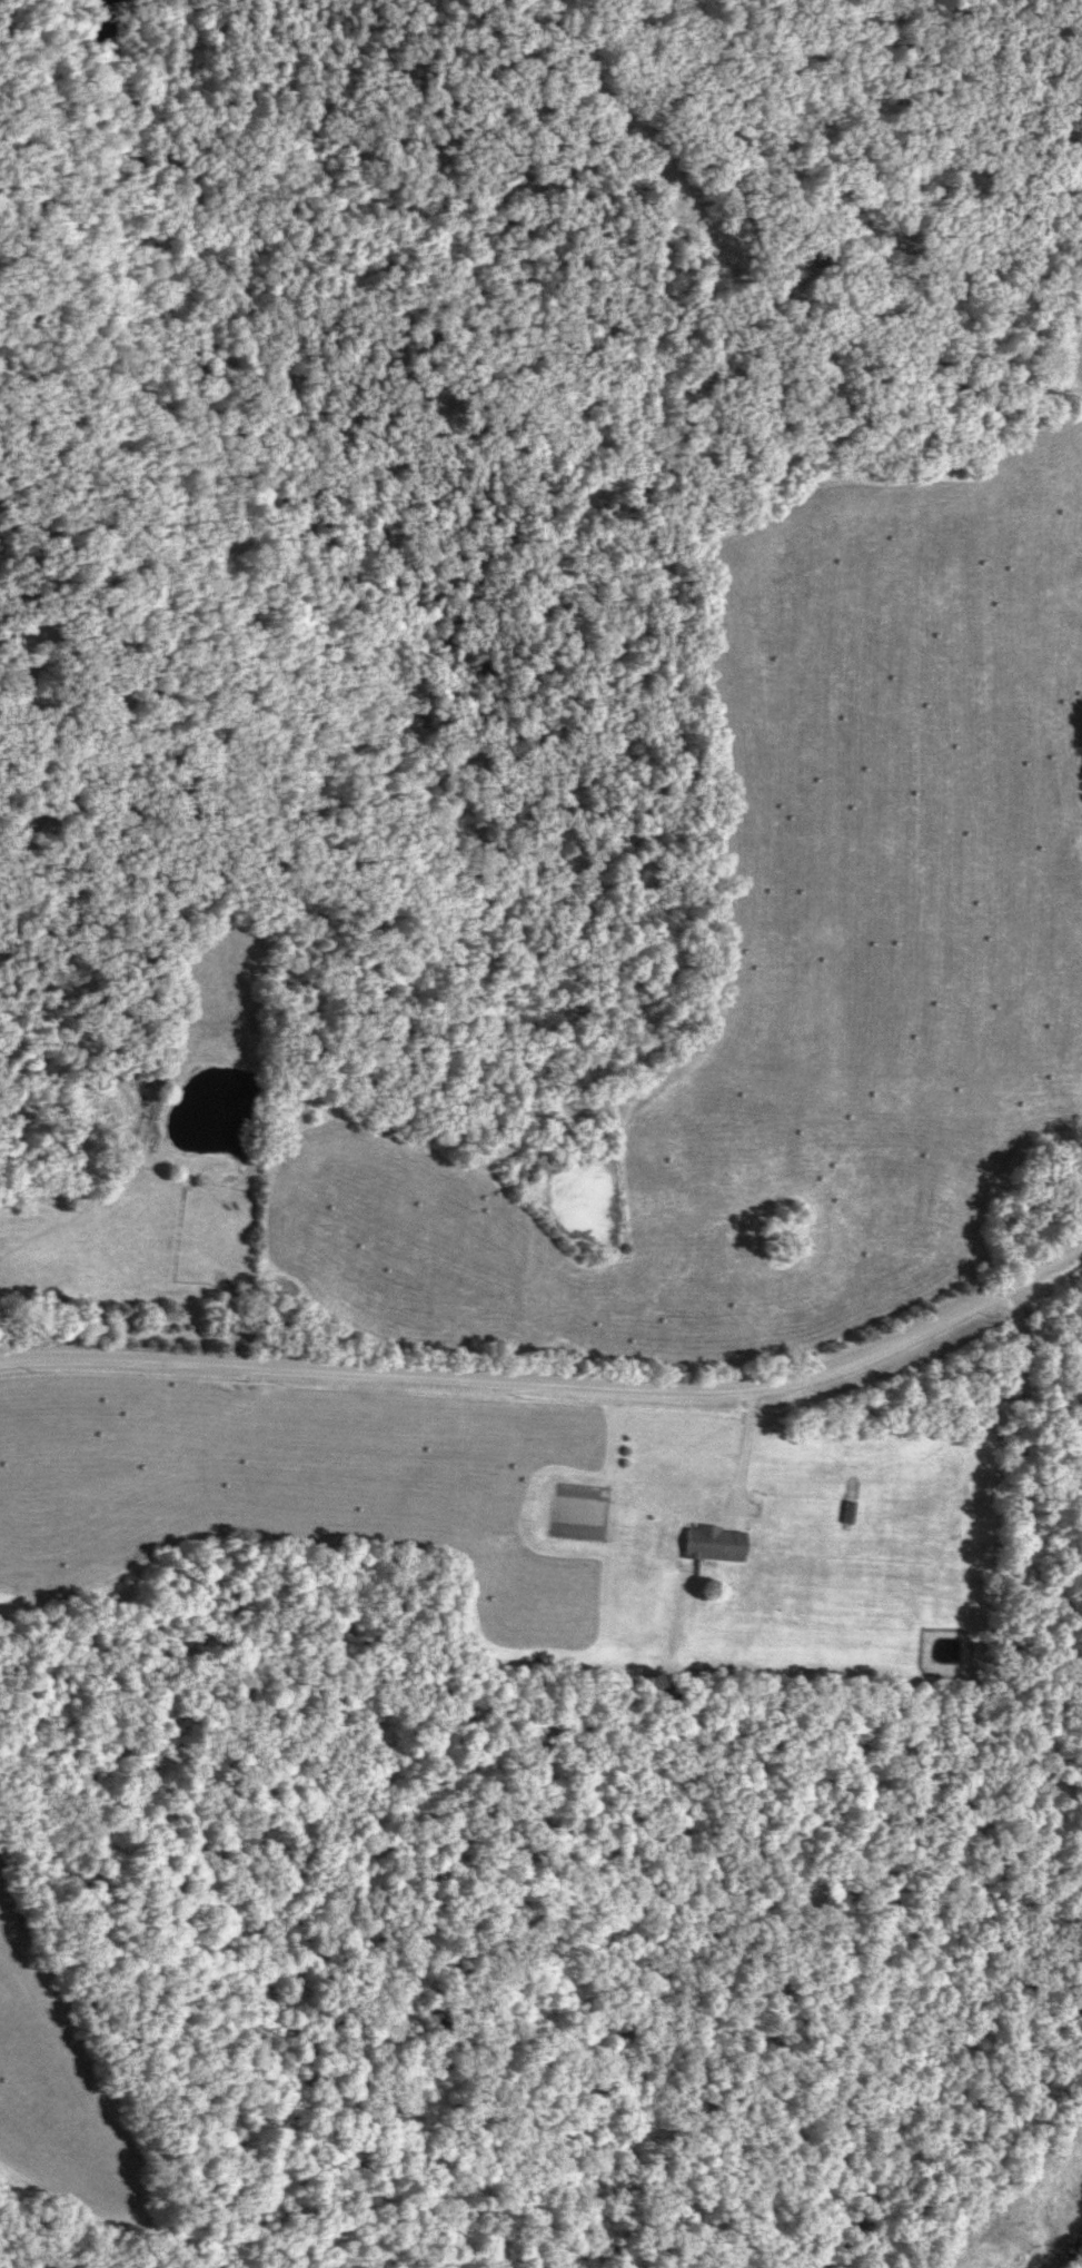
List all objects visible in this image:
road: (762, 301)
road: (553, 1387)
road: (742, 1448)
road: (1021, 1496)
building: (711, 1545)

